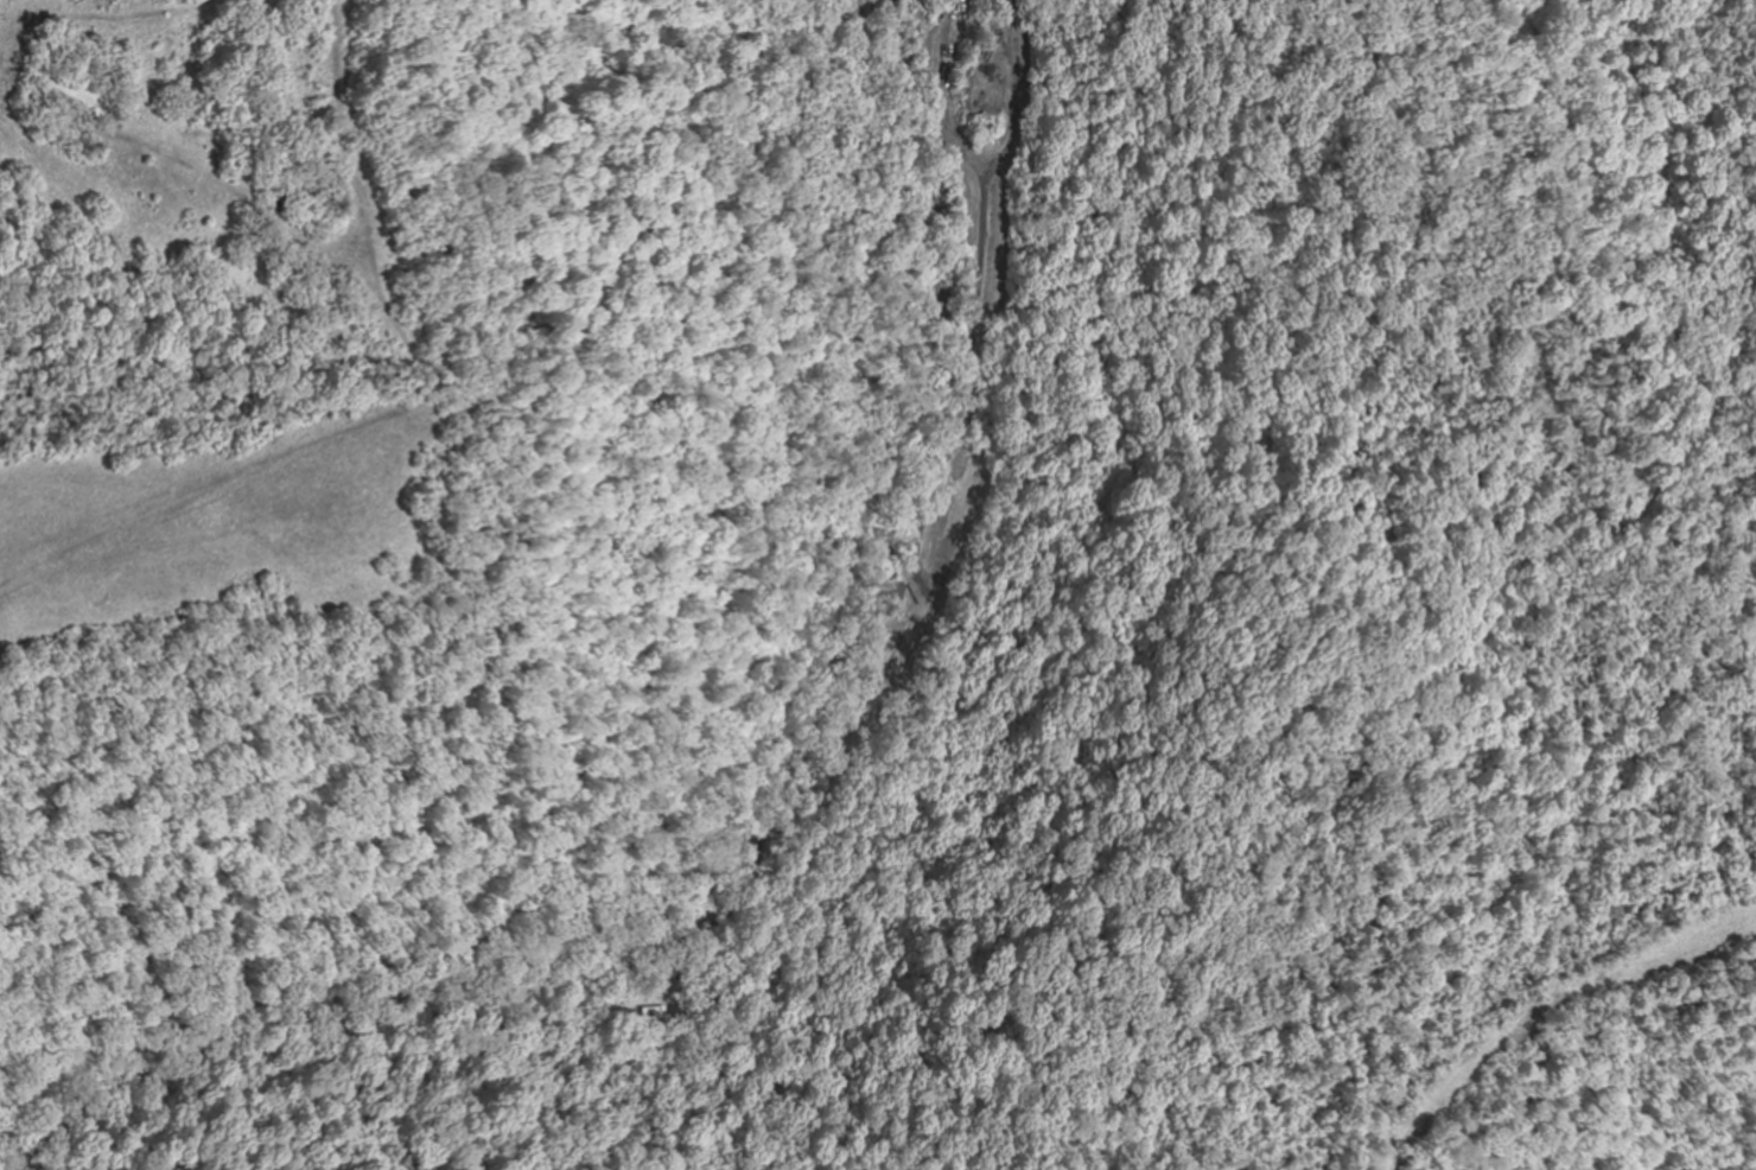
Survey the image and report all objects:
road: (262, 462)

